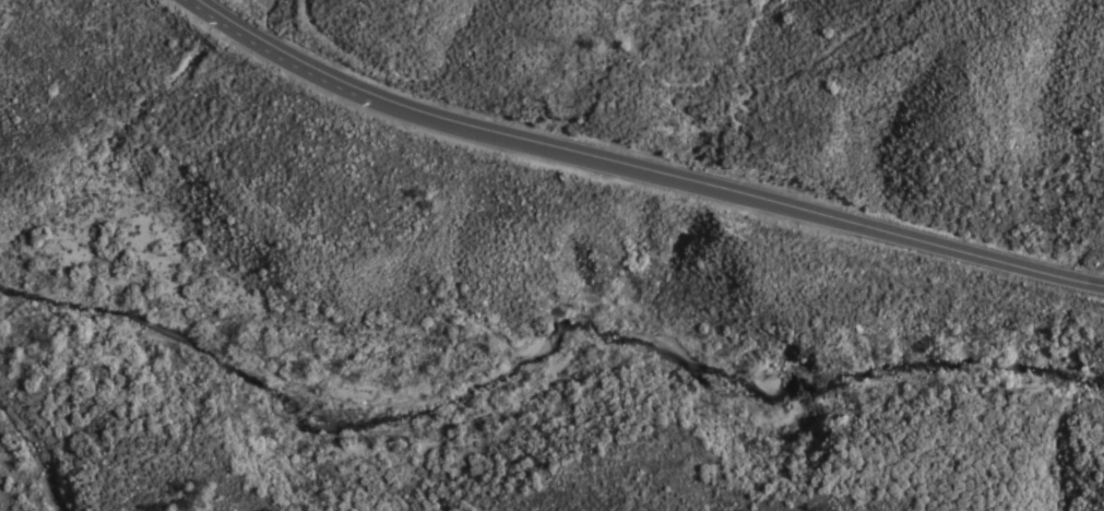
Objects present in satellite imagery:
road: (640, 169)
river: (542, 376)

